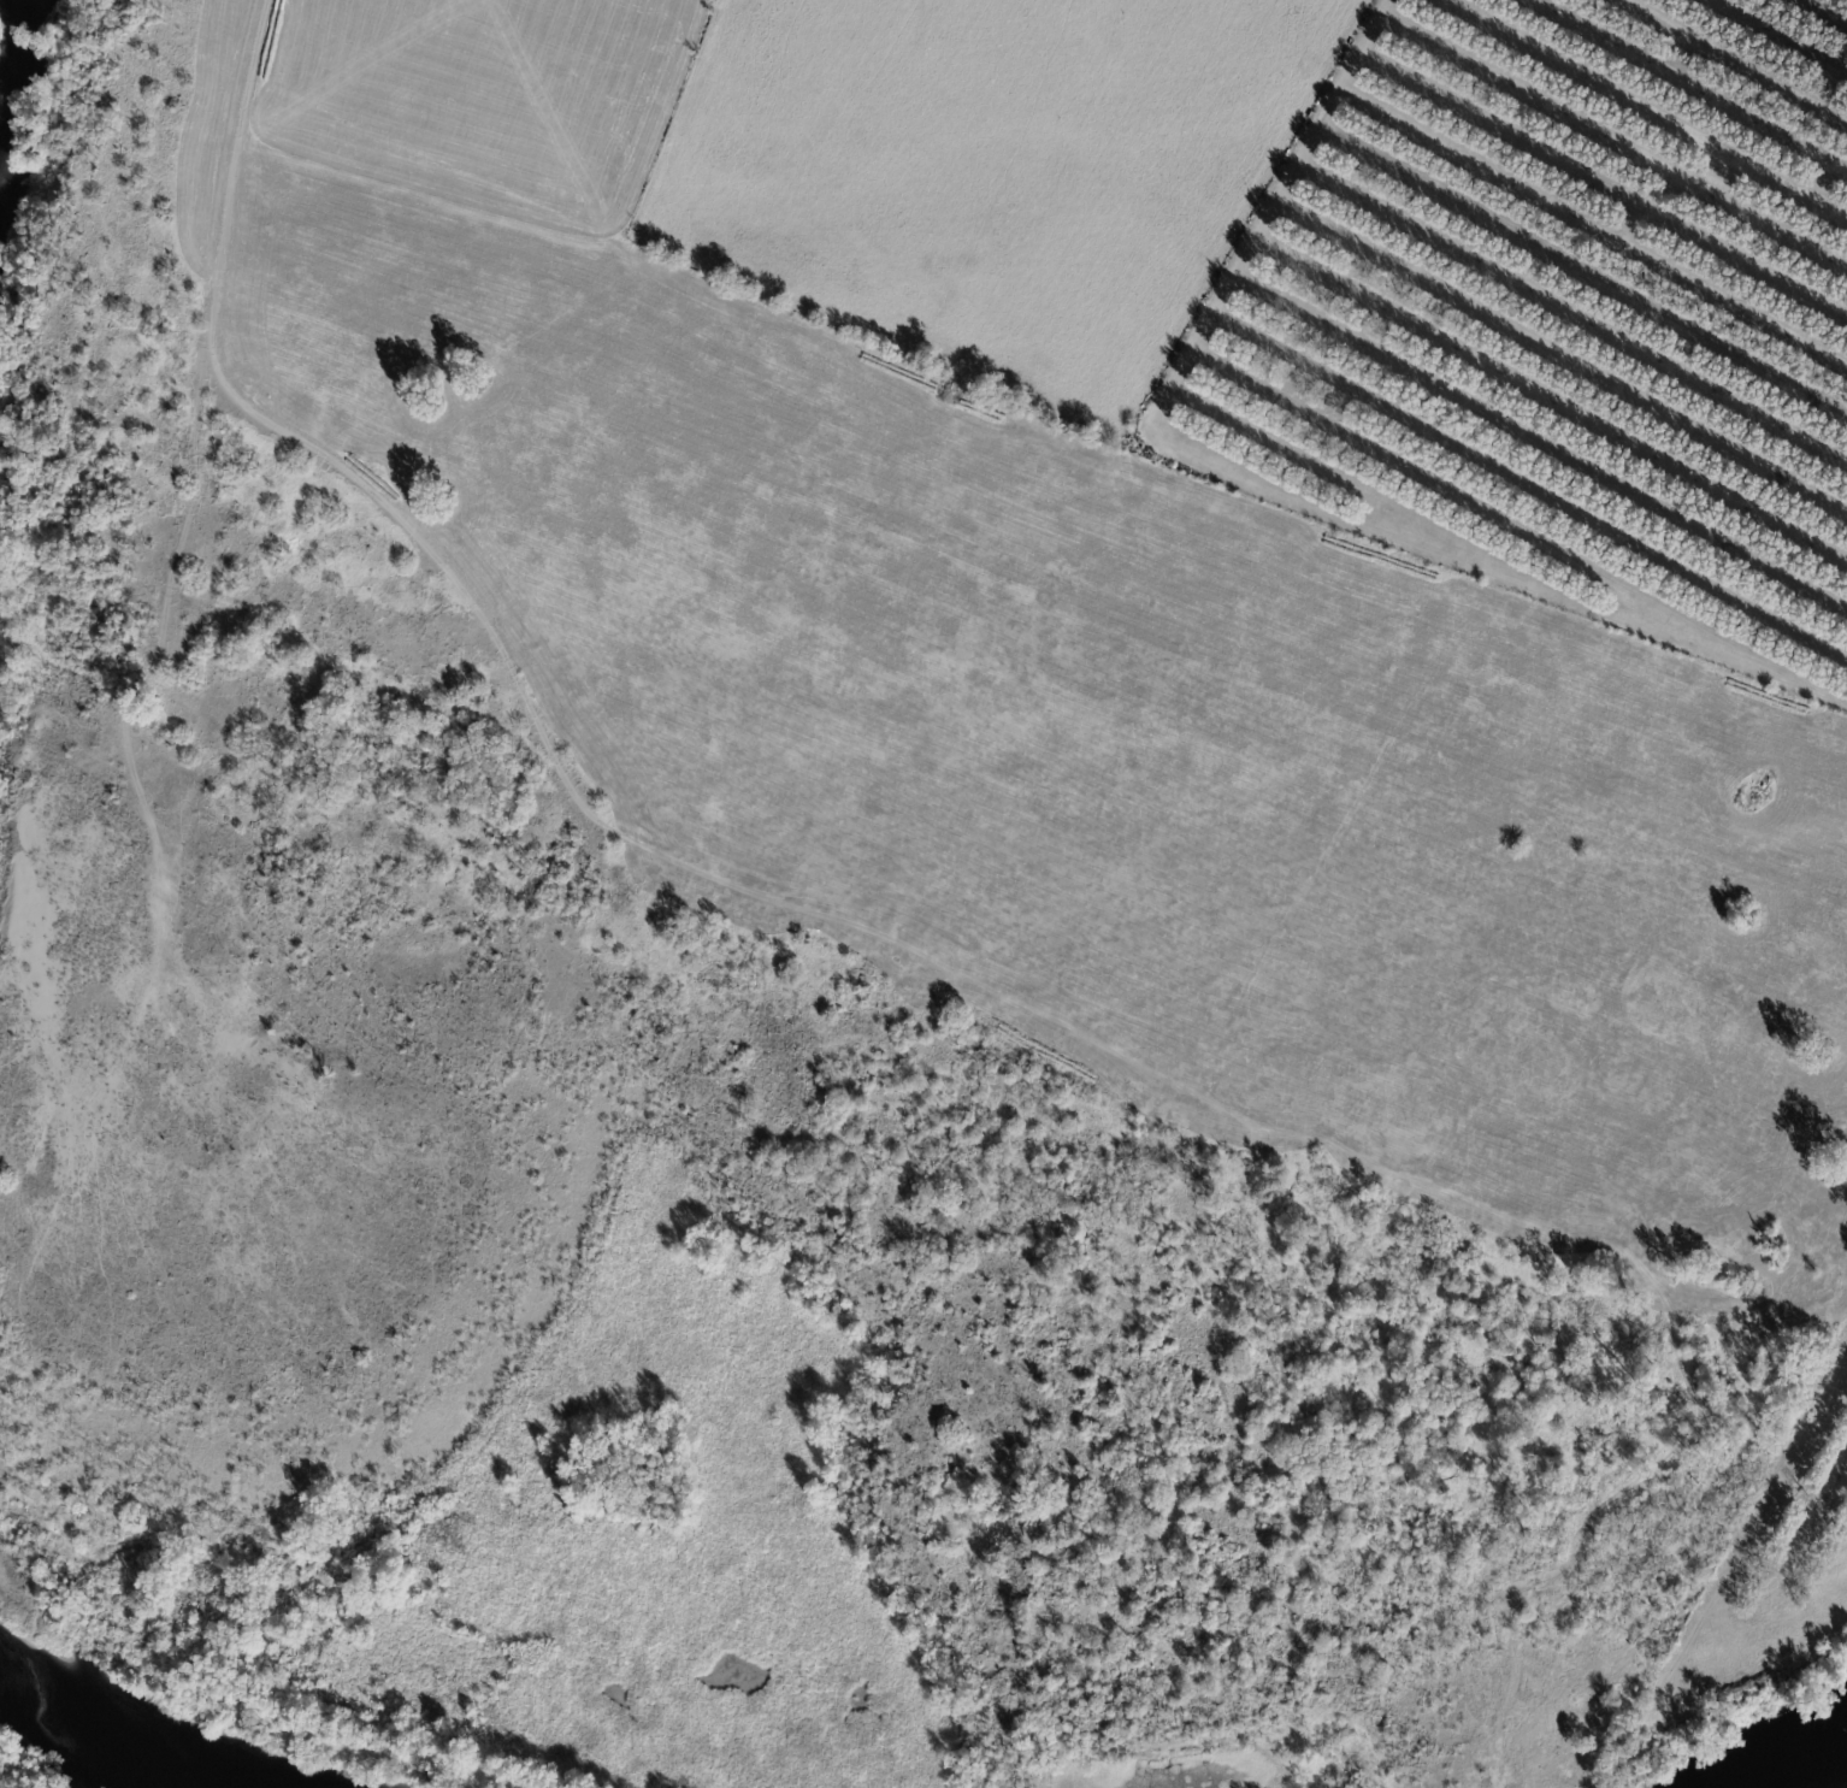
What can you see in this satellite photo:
river: (19, 63)
building: (1311, 116)
crop: (993, 175)
road: (655, 849)
river: (96, 1730)
river: (1805, 1764)

